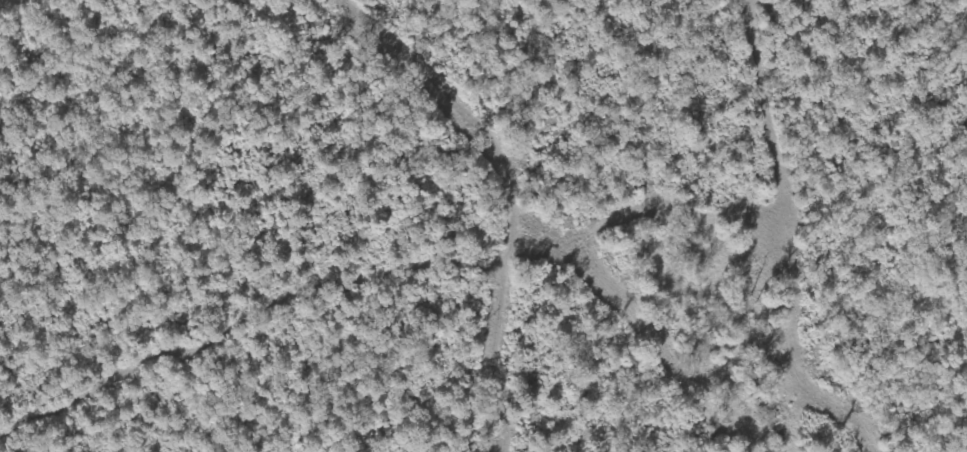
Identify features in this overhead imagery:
road: (753, 82)

